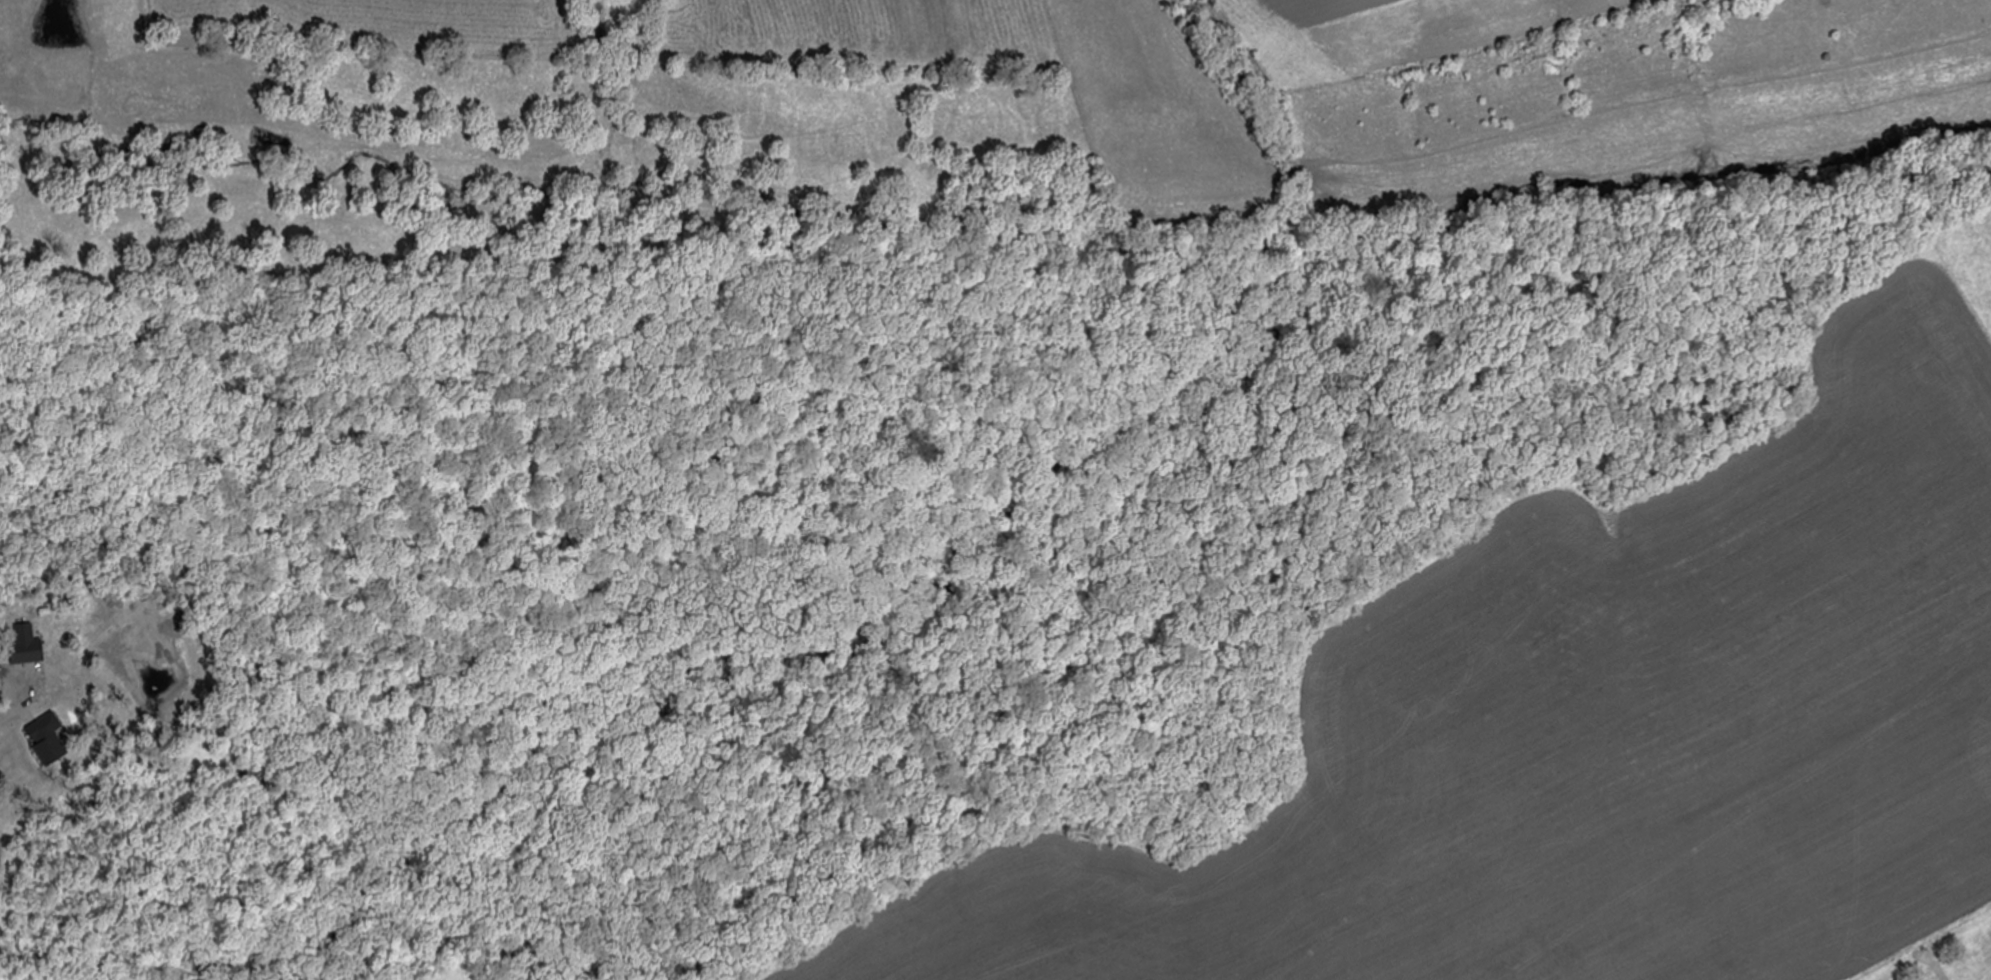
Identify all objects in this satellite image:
building: (261, 135)

